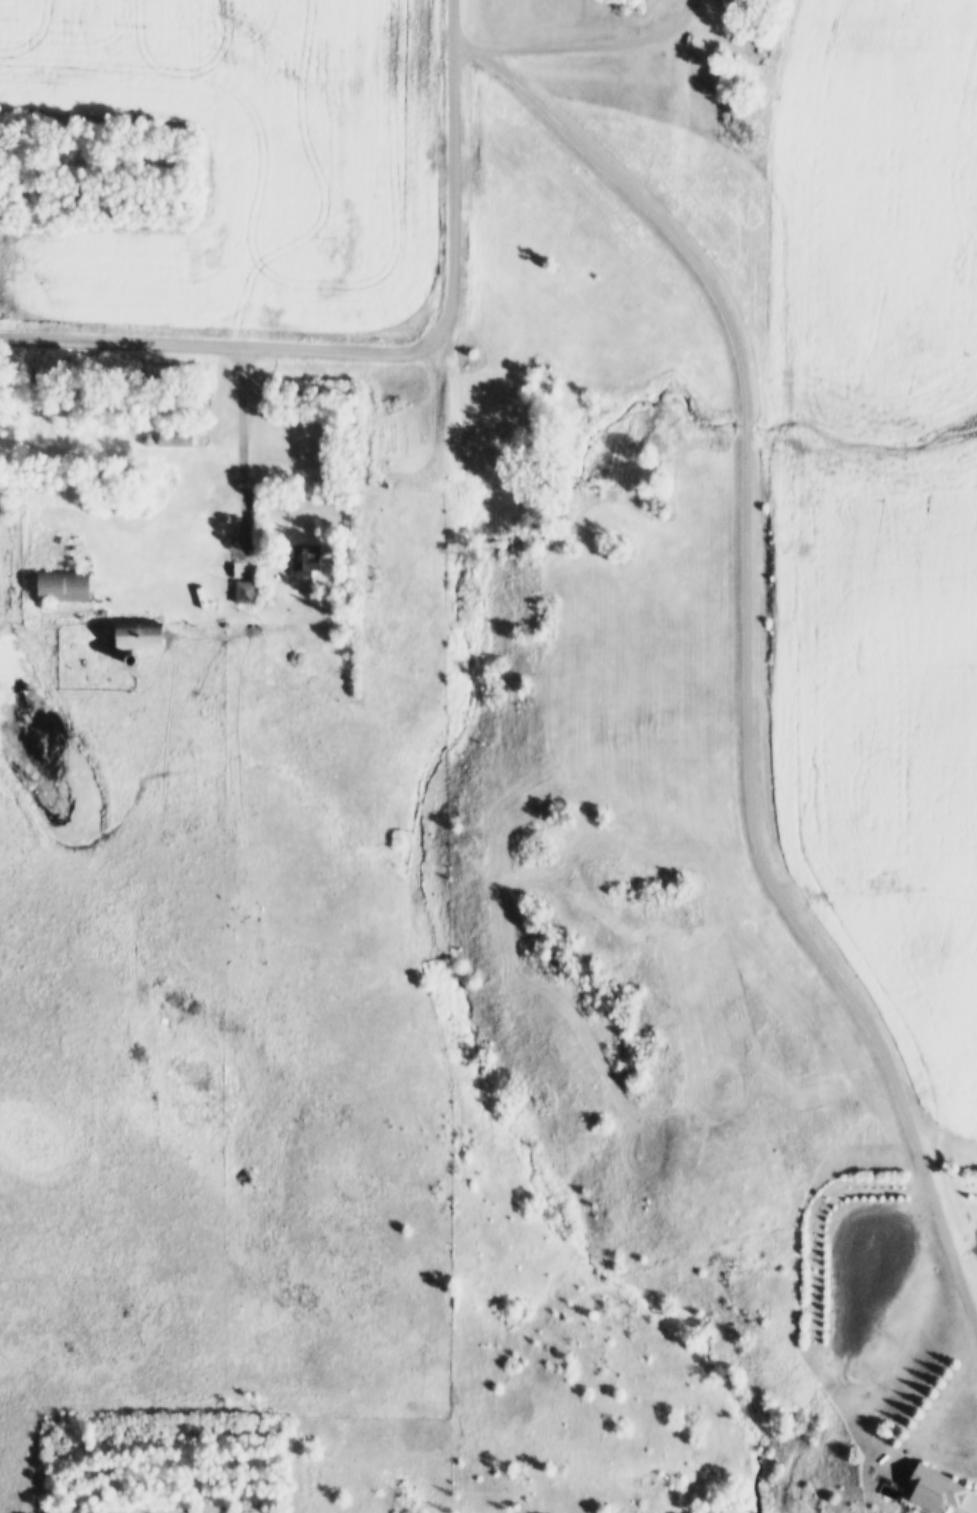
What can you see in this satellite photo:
road: (604, 50)
road: (453, 162)
road: (229, 350)
building: (143, 435)
silo: (143, 435)
building: (171, 436)
road: (241, 464)
building: (300, 556)
building: (61, 580)
building: (239, 589)
building: (135, 631)
road: (747, 653)
building: (929, 1486)

